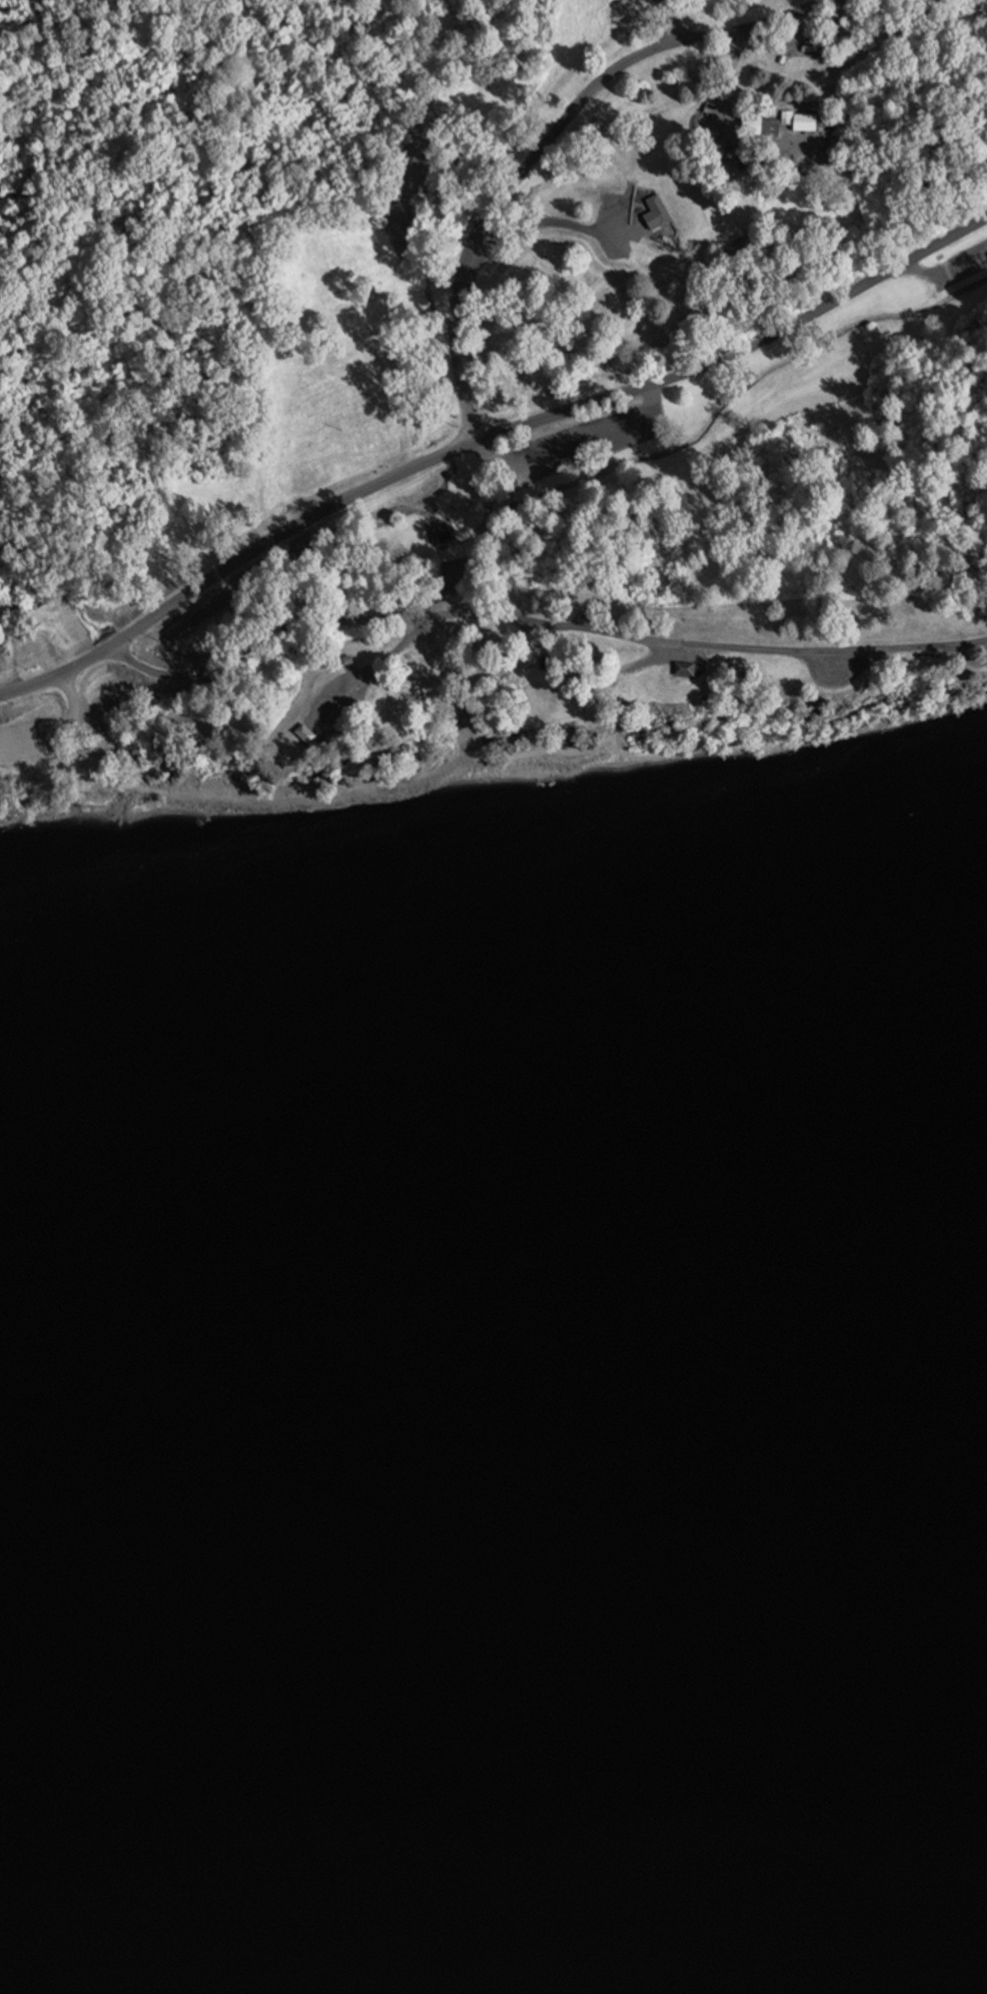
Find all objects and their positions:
road: (663, 2)
road: (671, 19)
road: (752, 28)
building: (804, 125)
building: (760, 128)
road: (549, 138)
building: (654, 207)
building: (660, 257)
parking lot: (956, 266)
road: (945, 274)
road: (463, 279)
road: (725, 355)
parking lot: (575, 448)
road: (576, 448)
road: (488, 511)
road: (268, 545)
road: (484, 609)
building: (3, 649)
parking lot: (833, 656)
road: (15, 664)
road: (370, 668)
building: (675, 669)
road: (455, 672)
road: (73, 698)
road: (68, 730)
building: (295, 733)
parking lot: (26, 738)
road: (524, 761)
road: (294, 795)
river: (496, 1441)

